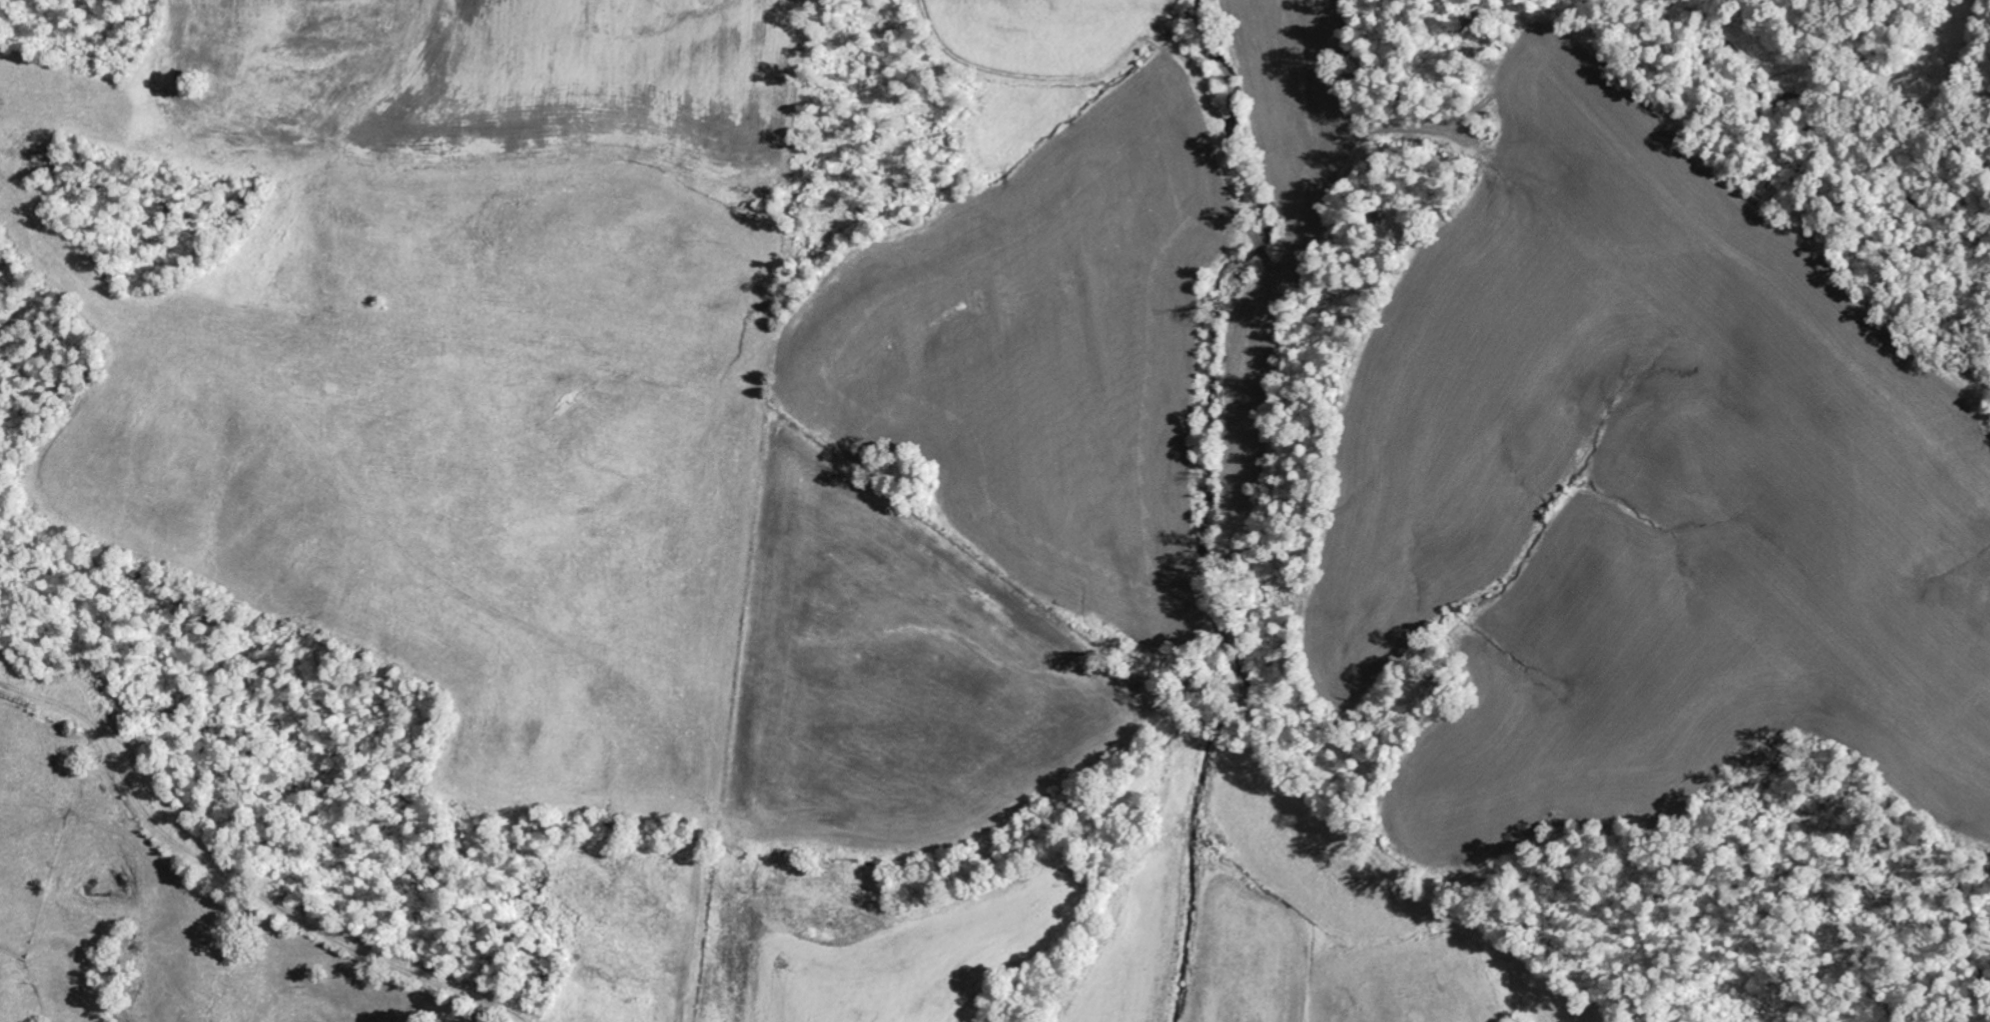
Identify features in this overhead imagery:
road: (346, 611)

